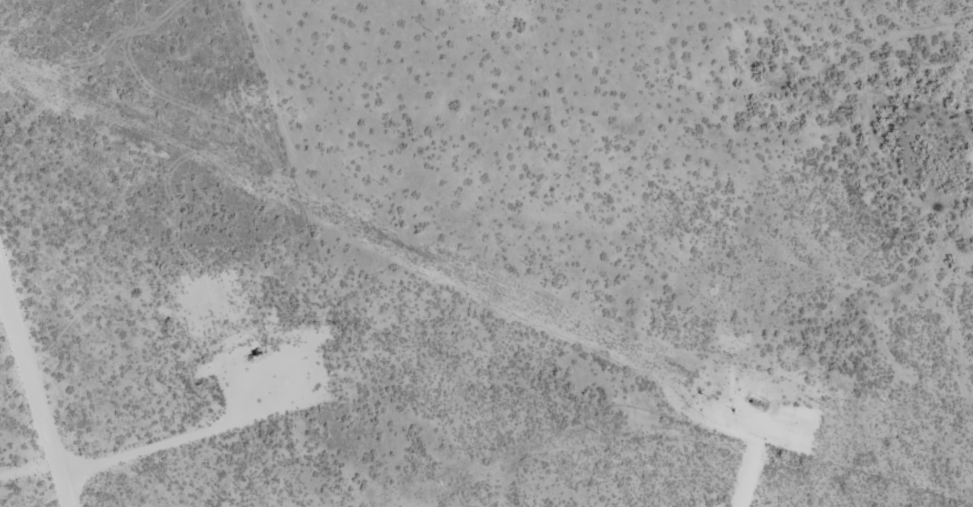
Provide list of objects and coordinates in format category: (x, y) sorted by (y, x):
road: (34, 399)

